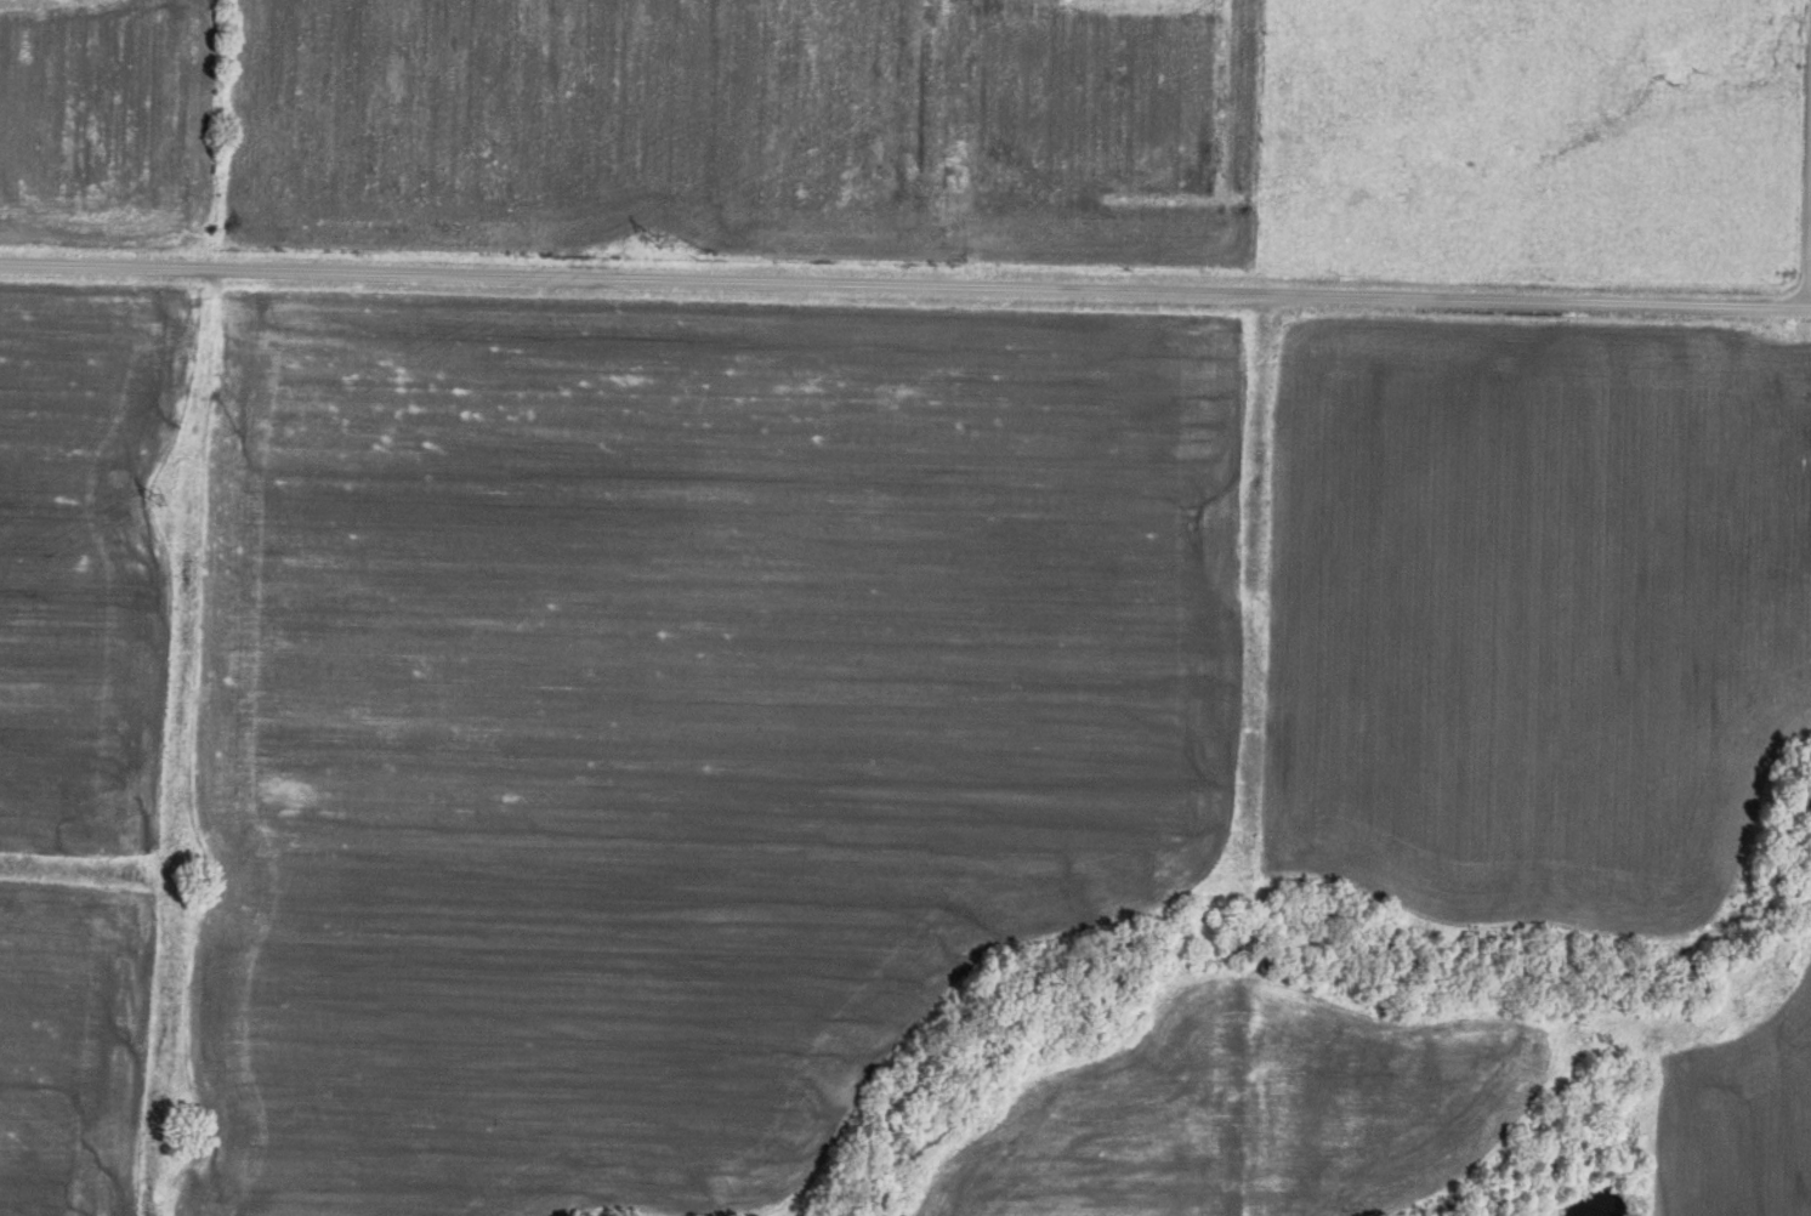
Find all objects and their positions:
road: (1787, 149)
power tower: (658, 251)
road: (906, 279)
power tower: (158, 506)

